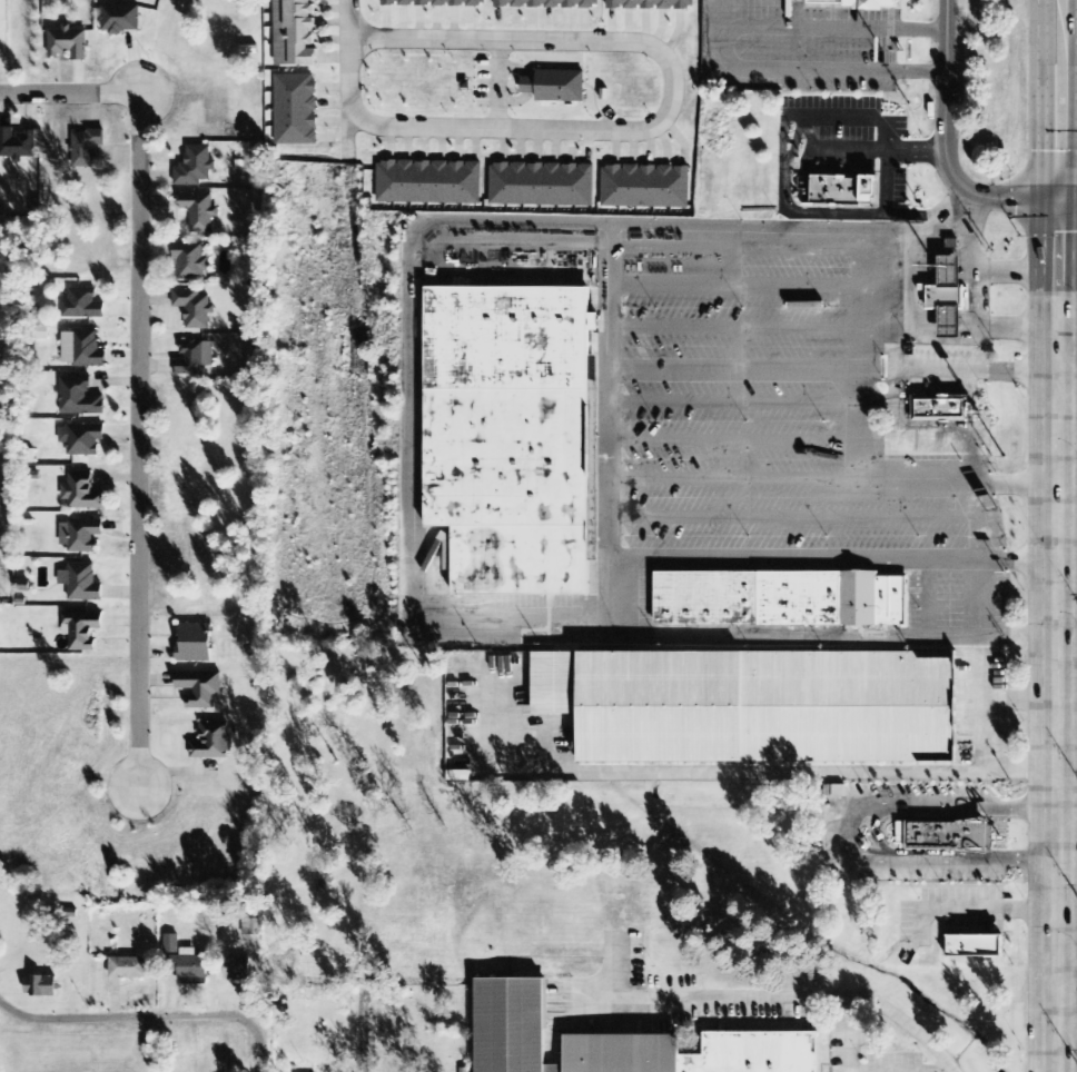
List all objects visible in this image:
building: (842, 1)
building: (434, 2)
building: (549, 3)
building: (651, 4)
building: (120, 20)
building: (294, 33)
building: (69, 43)
road: (350, 54)
road: (500, 86)
building: (556, 87)
road: (673, 89)
road: (1043, 100)
building: (295, 111)
road: (350, 136)
road: (948, 142)
building: (17, 145)
building: (86, 149)
building: (196, 168)
road: (1067, 177)
building: (429, 183)
building: (542, 186)
building: (645, 188)
building: (842, 191)
traffic signals: (1057, 198)
road: (1067, 198)
building: (200, 212)
building: (191, 262)
building: (949, 298)
building: (82, 306)
building: (195, 309)
building: (82, 350)
building: (194, 359)
road: (138, 373)
building: (79, 398)
building: (939, 406)
building: (511, 433)
building: (81, 439)
building: (82, 494)
building: (81, 536)
building: (81, 583)
building: (780, 597)
building: (81, 631)
road: (1055, 634)
building: (196, 643)
building: (200, 688)
building: (754, 704)
building: (213, 743)
road: (1066, 821)
road: (852, 833)
building: (942, 834)
building: (171, 944)
building: (976, 945)
building: (188, 967)
building: (128, 969)
building: (237, 969)
building: (41, 986)
road: (129, 1020)
road: (365, 1036)
building: (614, 1041)
road: (261, 1053)

